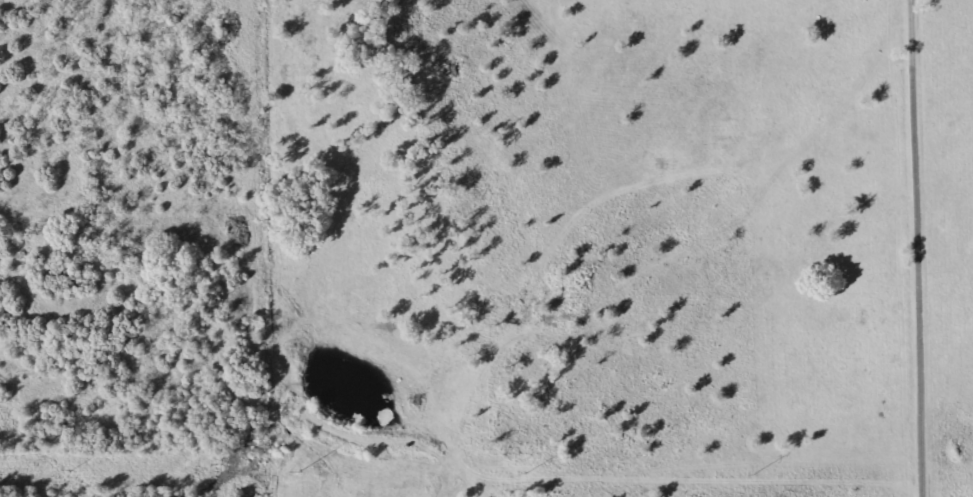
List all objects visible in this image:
road: (913, 248)

